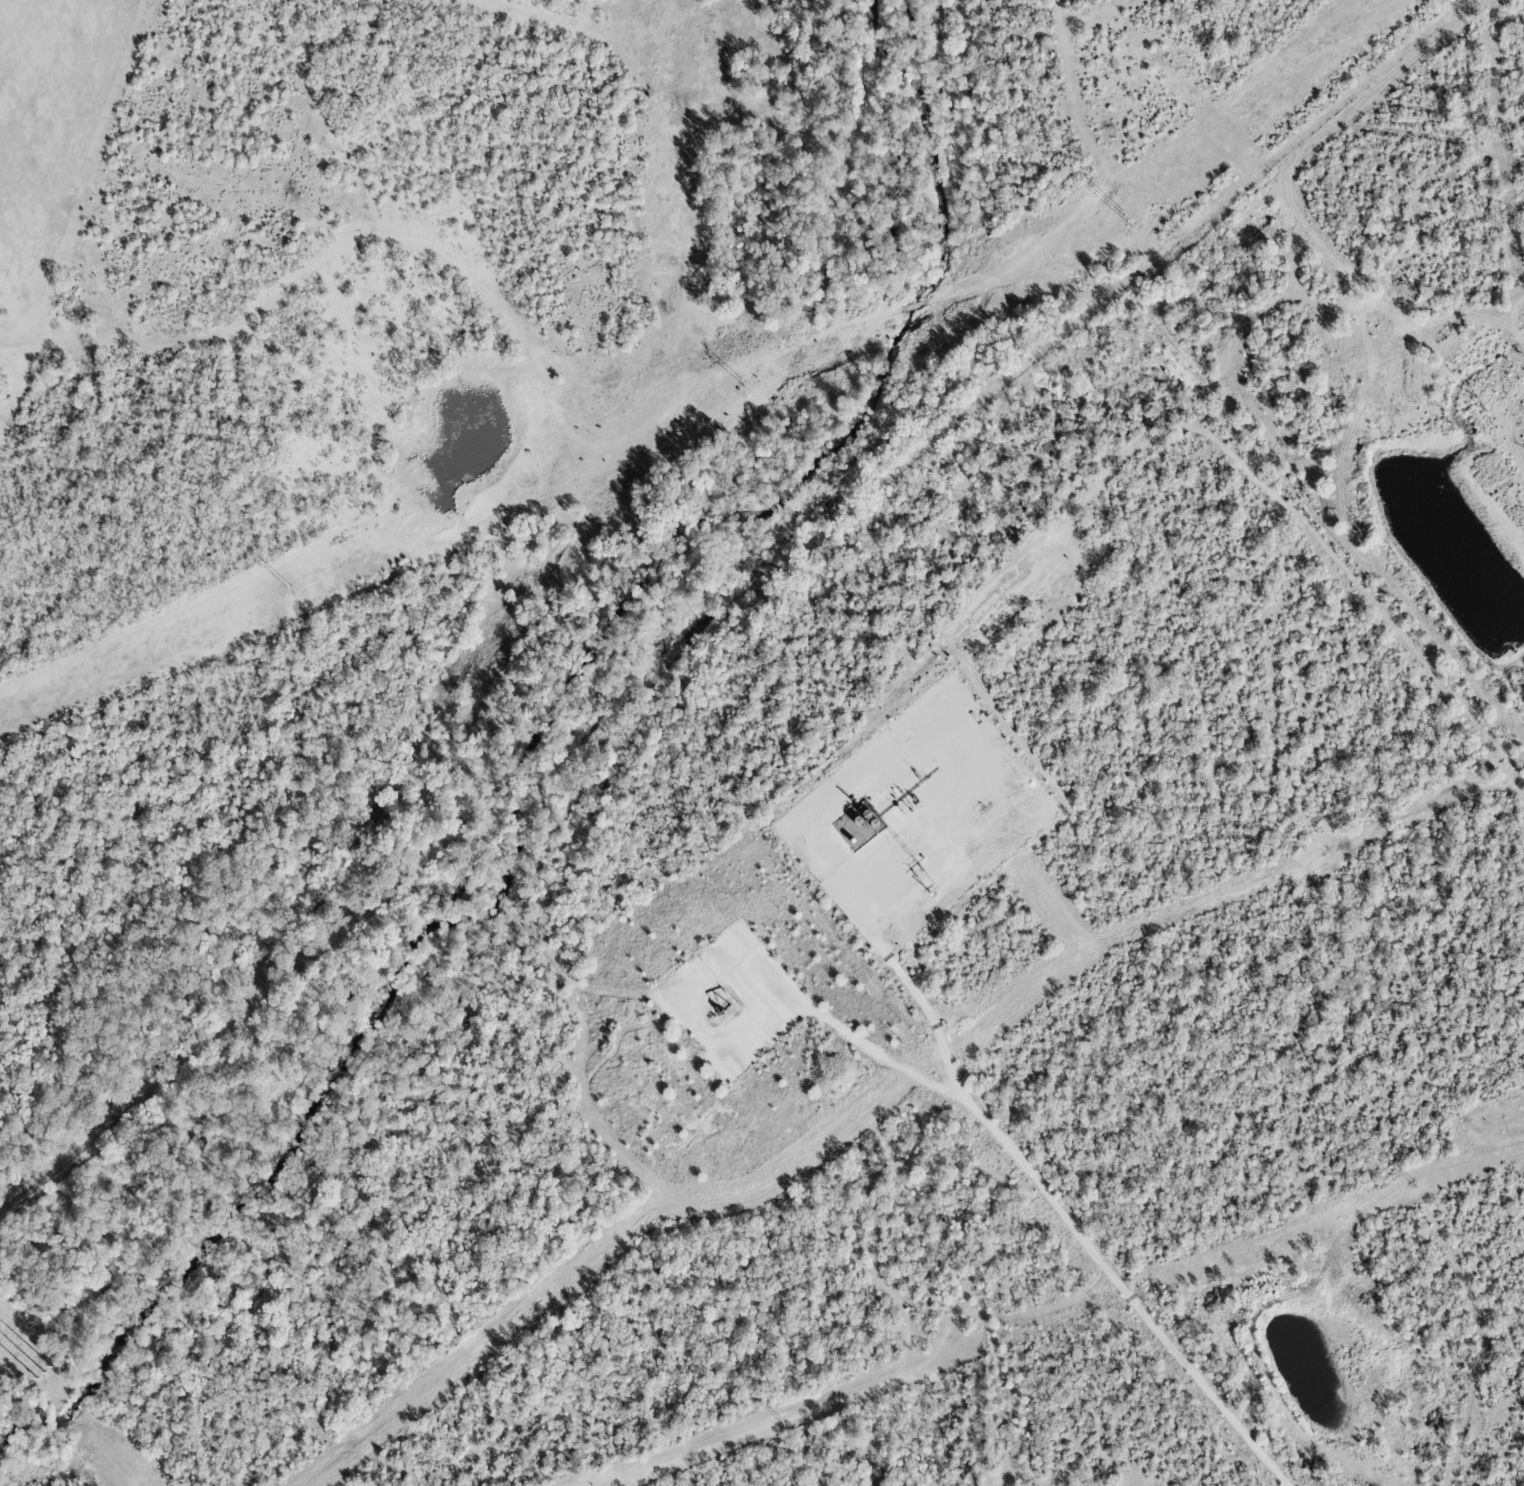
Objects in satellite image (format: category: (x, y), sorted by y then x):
power tower: (1125, 216)
power tower: (743, 385)
power tower: (290, 587)
road: (814, 989)
road: (971, 1093)
power tower: (1411, 1182)
power tower: (1097, 1299)
power tower: (47, 1378)
power tower: (780, 1420)

